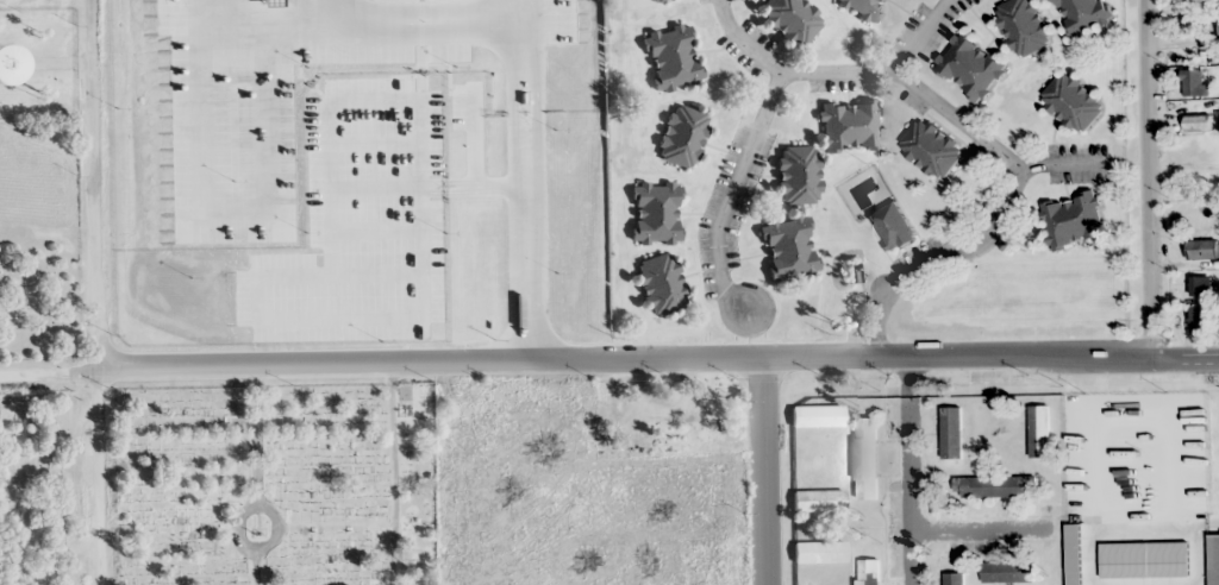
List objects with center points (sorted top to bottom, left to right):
building: (654, 1)
building: (864, 7)
building: (1081, 14)
building: (792, 20)
building: (1190, 25)
building: (1021, 26)
building: (1218, 26)
building: (673, 57)
building: (969, 67)
building: (1193, 82)
building: (1070, 102)
building: (1198, 122)
building: (850, 126)
building: (682, 137)
building: (929, 147)
road: (1064, 165)
building: (799, 175)
road: (1146, 181)
building: (657, 213)
building: (1073, 220)
building: (893, 226)
building: (788, 247)
building: (1201, 250)
road: (940, 262)
building: (662, 284)
building: (1200, 287)
road: (99, 292)
park: (39, 297)
road: (659, 364)
road: (50, 377)
building: (1196, 410)
building: (818, 417)
building: (1039, 430)
building: (1090, 430)
building: (951, 433)
building: (865, 458)
road: (908, 472)
road: (761, 473)
building: (1207, 483)
park: (276, 485)
building: (1120, 485)
building: (993, 486)
park: (44, 487)
building: (819, 502)
road: (981, 533)
building: (819, 553)
building: (1150, 570)
building: (1212, 570)
building: (1079, 571)
building: (868, 572)
building: (1007, 572)
building: (954, 578)

